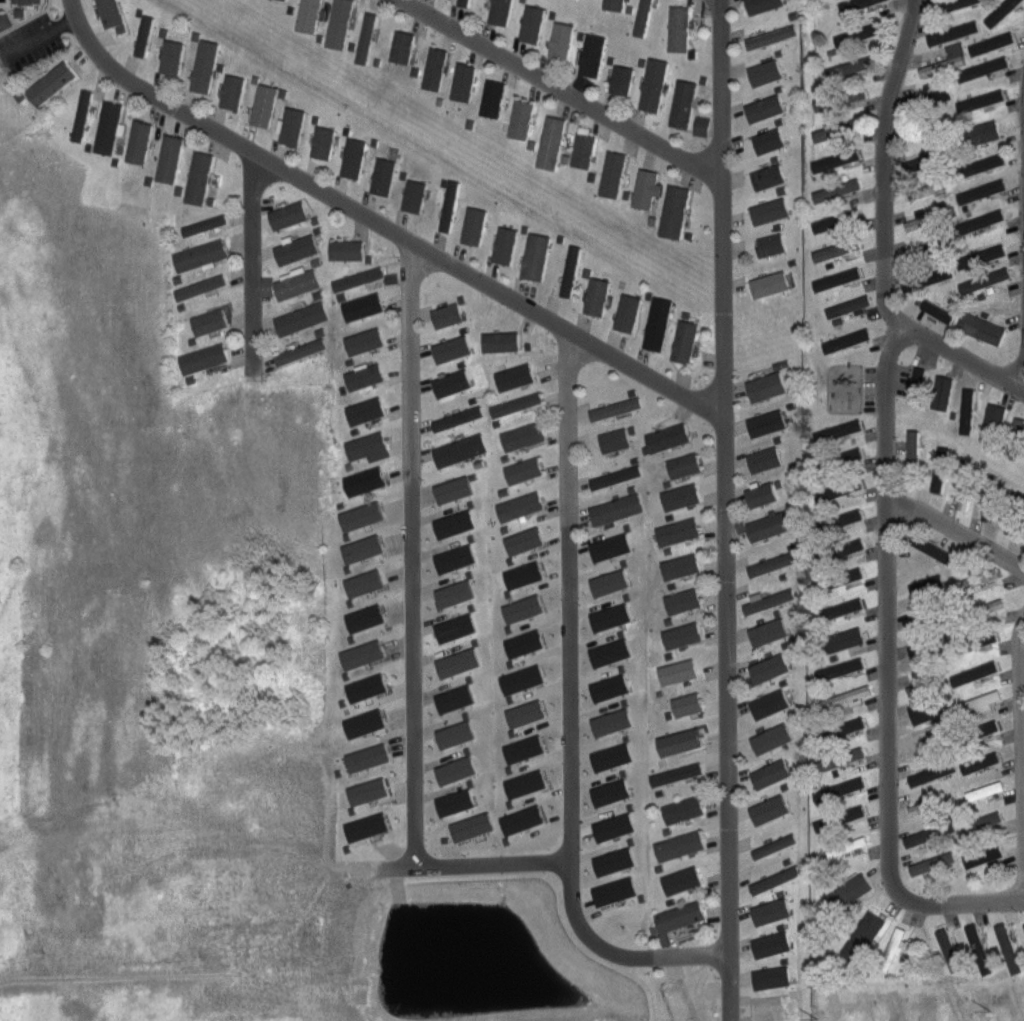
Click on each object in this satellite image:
building: (278, 1)
building: (27, 2)
building: (464, 2)
building: (952, 3)
building: (614, 4)
building: (764, 5)
building: (854, 5)
park: (25, 10)
building: (997, 10)
building: (20, 11)
road: (28, 12)
building: (501, 12)
road: (50, 13)
building: (111, 13)
building: (309, 15)
building: (643, 17)
road: (14, 18)
road: (27, 19)
building: (5, 20)
road: (66, 22)
building: (533, 23)
building: (340, 24)
building: (679, 28)
building: (949, 31)
building: (855, 33)
building: (145, 36)
building: (772, 36)
building: (367, 37)
building: (562, 39)
road: (30, 42)
building: (988, 42)
building: (403, 46)
building: (593, 55)
building: (173, 57)
building: (941, 64)
building: (204, 66)
building: (849, 66)
building: (435, 68)
building: (980, 68)
building: (766, 72)
building: (623, 78)
building: (465, 82)
building: (655, 83)
building: (50, 84)
road: (560, 86)
building: (233, 91)
building: (938, 94)
building: (845, 98)
building: (493, 99)
building: (978, 99)
building: (685, 103)
building: (264, 105)
building: (766, 108)
building: (83, 115)
park: (9, 116)
building: (522, 119)
building: (292, 126)
building: (934, 127)
building: (108, 128)
building: (978, 131)
building: (820, 133)
building: (769, 140)
building: (139, 141)
building: (323, 142)
building: (552, 142)
building: (583, 150)
building: (354, 157)
building: (843, 157)
building: (170, 158)
building: (978, 164)
building: (614, 173)
building: (384, 175)
building: (769, 175)
building: (199, 177)
building: (842, 184)
building: (646, 188)
building: (926, 189)
building: (978, 190)
building: (414, 195)
building: (451, 206)
building: (771, 210)
building: (676, 211)
building: (290, 215)
building: (929, 217)
building: (978, 220)
road: (381, 221)
building: (821, 223)
building: (205, 225)
building: (476, 228)
building: (505, 244)
building: (772, 244)
building: (931, 247)
building: (297, 248)
building: (843, 248)
building: (347, 249)
building: (989, 251)
road: (252, 253)
building: (202, 255)
building: (537, 256)
building: (961, 260)
building: (572, 271)
building: (929, 277)
building: (360, 278)
building: (834, 278)
building: (984, 279)
building: (297, 283)
building: (771, 284)
building: (201, 287)
building: (598, 297)
building: (362, 303)
building: (847, 305)
building: (629, 312)
building: (448, 315)
building: (303, 317)
building: (211, 321)
building: (659, 323)
building: (982, 327)
building: (366, 340)
building: (843, 340)
building: (503, 341)
building: (686, 341)
building: (453, 349)
building: (301, 351)
road: (954, 353)
building: (204, 358)
road: (1023, 365)
building: (516, 376)
building: (365, 377)
park: (831, 382)
building: (917, 382)
building: (453, 383)
parking lot: (866, 385)
building: (768, 386)
road: (859, 386)
building: (938, 387)
building: (518, 404)
building: (964, 404)
building: (616, 408)
building: (367, 410)
building: (459, 418)
building: (768, 423)
building: (993, 423)
building: (838, 429)
building: (523, 436)
building: (669, 437)
building: (1015, 438)
building: (615, 439)
building: (909, 445)
building: (368, 447)
road: (886, 447)
building: (461, 450)
building: (845, 456)
building: (913, 457)
building: (766, 459)
building: (685, 465)
building: (525, 470)
building: (940, 472)
building: (618, 477)
building: (934, 479)
building: (367, 481)
building: (846, 486)
building: (450, 488)
building: (966, 488)
road: (723, 495)
building: (762, 495)
building: (683, 497)
building: (993, 498)
building: (521, 506)
building: (617, 509)
building: (357, 515)
building: (845, 516)
building: (1016, 518)
building: (450, 523)
building: (773, 524)
road: (955, 530)
building: (679, 531)
building: (520, 540)
building: (607, 546)
building: (846, 546)
building: (927, 546)
road: (413, 547)
building: (359, 548)
building: (451, 558)
building: (924, 562)
building: (774, 563)
building: (682, 565)
building: (519, 574)
building: (843, 575)
building: (980, 577)
building: (361, 582)
building: (606, 582)
road: (569, 589)
building: (451, 593)
building: (768, 596)
building: (684, 600)
building: (840, 607)
building: (520, 608)
building: (982, 609)
building: (607, 616)
building: (361, 617)
building: (452, 627)
road: (1023, 631)
building: (770, 633)
building: (683, 635)
building: (844, 638)
building: (979, 641)
building: (521, 642)
building: (607, 651)
building: (358, 654)
building: (454, 662)
building: (840, 667)
building: (770, 668)
building: (680, 671)
building: (970, 672)
building: (518, 678)
building: (924, 684)
building: (362, 687)
building: (606, 687)
crop: (139, 689)
building: (846, 697)
building: (451, 698)
building: (979, 700)
building: (770, 703)
building: (689, 704)
building: (521, 713)
building: (928, 713)
building: (608, 721)
building: (360, 723)
building: (848, 724)
building: (978, 731)
building: (451, 733)
building: (776, 737)
building: (682, 742)
building: (927, 744)
building: (521, 748)
building: (609, 756)
building: (845, 756)
building: (363, 757)
building: (977, 762)
building: (451, 769)
building: (929, 772)
building: (679, 774)
building: (772, 774)
building: (521, 783)
building: (846, 785)
building: (983, 789)
building: (364, 790)
building: (607, 791)
building: (451, 801)
building: (928, 804)
building: (772, 808)
building: (684, 810)
building: (845, 815)
building: (519, 819)
building: (982, 822)
building: (363, 826)
building: (468, 826)
building: (611, 826)
building: (927, 834)
building: (681, 844)
building: (776, 846)
building: (846, 846)
road: (495, 852)
building: (981, 853)
building: (611, 860)
building: (930, 863)
building: (684, 879)
building: (776, 879)
building: (848, 889)
building: (612, 890)
road: (960, 901)
building: (773, 910)
building: (683, 915)
building: (1022, 928)
building: (862, 937)
road: (616, 942)
building: (772, 944)
building: (976, 944)
building: (891, 948)
building: (949, 948)
building: (1008, 948)
building: (773, 977)

